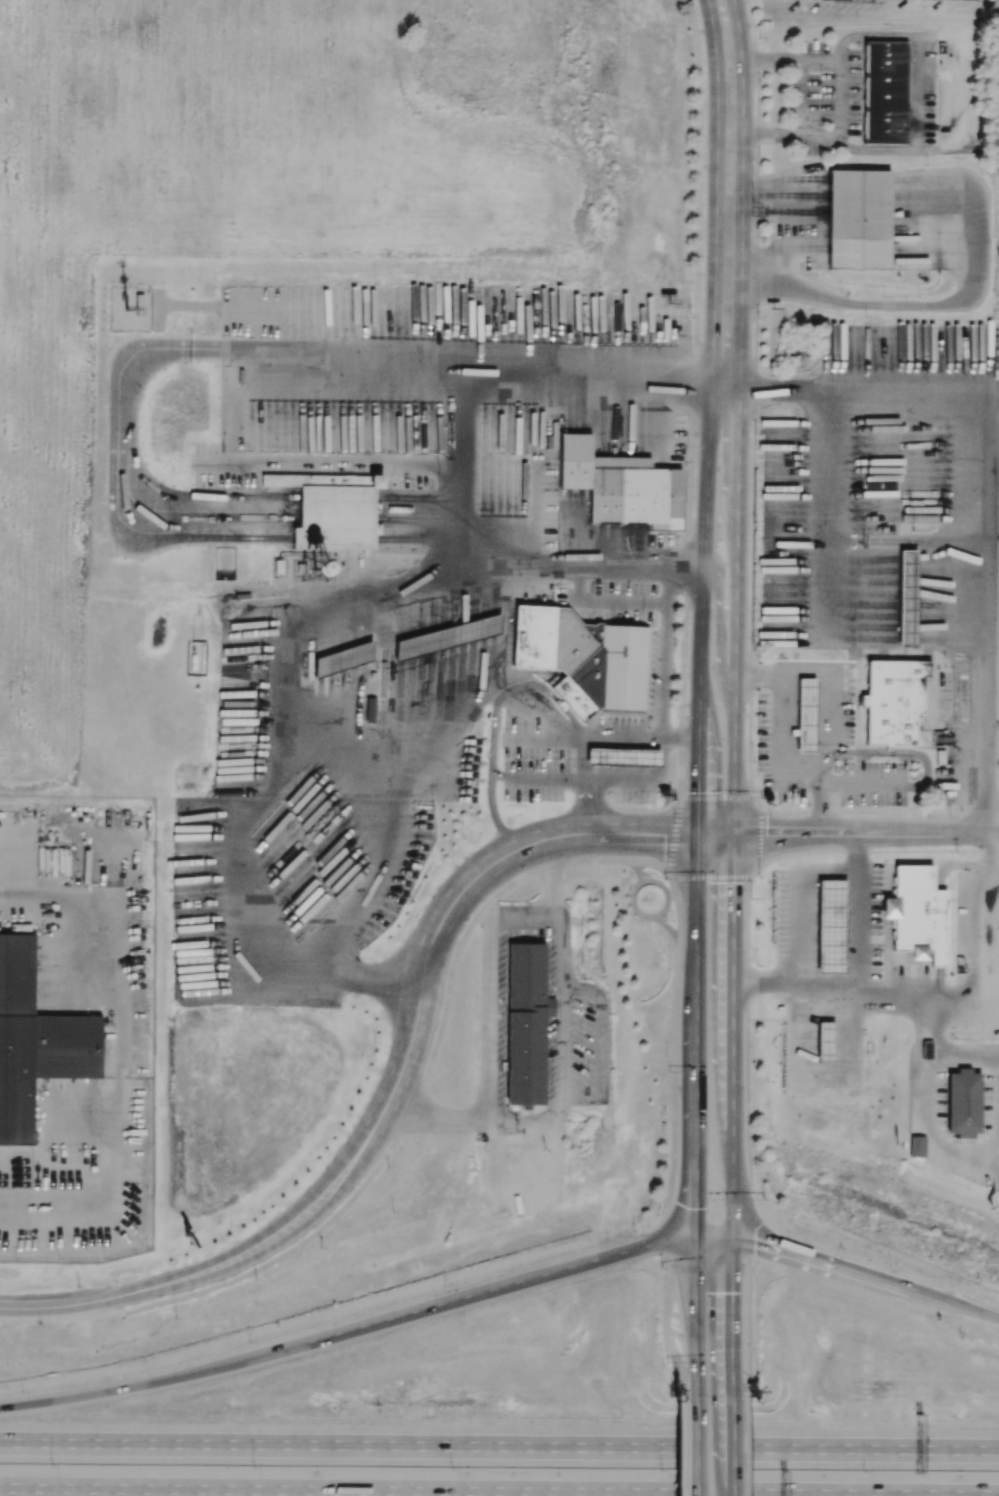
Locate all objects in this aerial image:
building: (845, 0)
road: (993, 10)
road: (919, 12)
road: (728, 58)
road: (916, 87)
building: (884, 92)
road: (729, 135)
road: (716, 164)
road: (742, 165)
building: (859, 220)
road: (788, 228)
road: (910, 305)
road: (144, 351)
road: (696, 438)
road: (460, 464)
road: (980, 485)
building: (622, 486)
building: (921, 494)
road: (352, 511)
road: (827, 512)
parking lot: (572, 513)
road: (422, 518)
building: (353, 529)
building: (294, 549)
building: (275, 569)
water tower: (289, 572)
road: (723, 582)
parking lot: (592, 597)
building: (907, 598)
road: (600, 602)
building: (449, 637)
building: (533, 638)
building: (343, 660)
building: (576, 664)
road: (795, 668)
building: (623, 669)
road: (753, 676)
road: (662, 683)
building: (896, 688)
road: (484, 692)
parking lot: (848, 702)
building: (806, 716)
road: (492, 730)
building: (891, 731)
parking lot: (763, 737)
road: (536, 738)
road: (598, 738)
road: (895, 751)
building: (623, 757)
road: (288, 776)
road: (498, 777)
road: (618, 783)
parking lot: (875, 784)
road: (867, 786)
road: (823, 809)
road: (383, 824)
road: (844, 832)
road: (770, 833)
road: (931, 833)
traffic signals: (718, 834)
road: (454, 899)
building: (917, 915)
road: (514, 918)
road: (680, 921)
building: (831, 927)
road: (971, 930)
road: (865, 974)
road: (894, 990)
building: (526, 1023)
road: (933, 1028)
parking lot: (560, 1032)
building: (825, 1041)
building: (35, 1042)
road: (602, 1046)
building: (928, 1051)
road: (973, 1058)
road: (426, 1080)
building: (964, 1102)
road: (696, 1112)
road: (731, 1113)
road: (997, 1116)
road: (933, 1134)
building: (916, 1147)
road: (669, 1177)
road: (749, 1189)
road: (682, 1199)
traffic signals: (695, 1207)
road: (747, 1214)
road: (688, 1240)
traffic signals: (753, 1244)
road: (759, 1245)
road: (195, 1277)
road: (892, 1288)
traffic signals: (731, 1292)
road: (324, 1332)
street lamp: (21, 1390)
road: (694, 1445)
road: (731, 1445)
road: (744, 1446)
road: (499, 1447)
road: (677, 1448)
street lamp: (51, 1465)
road: (499, 1491)

